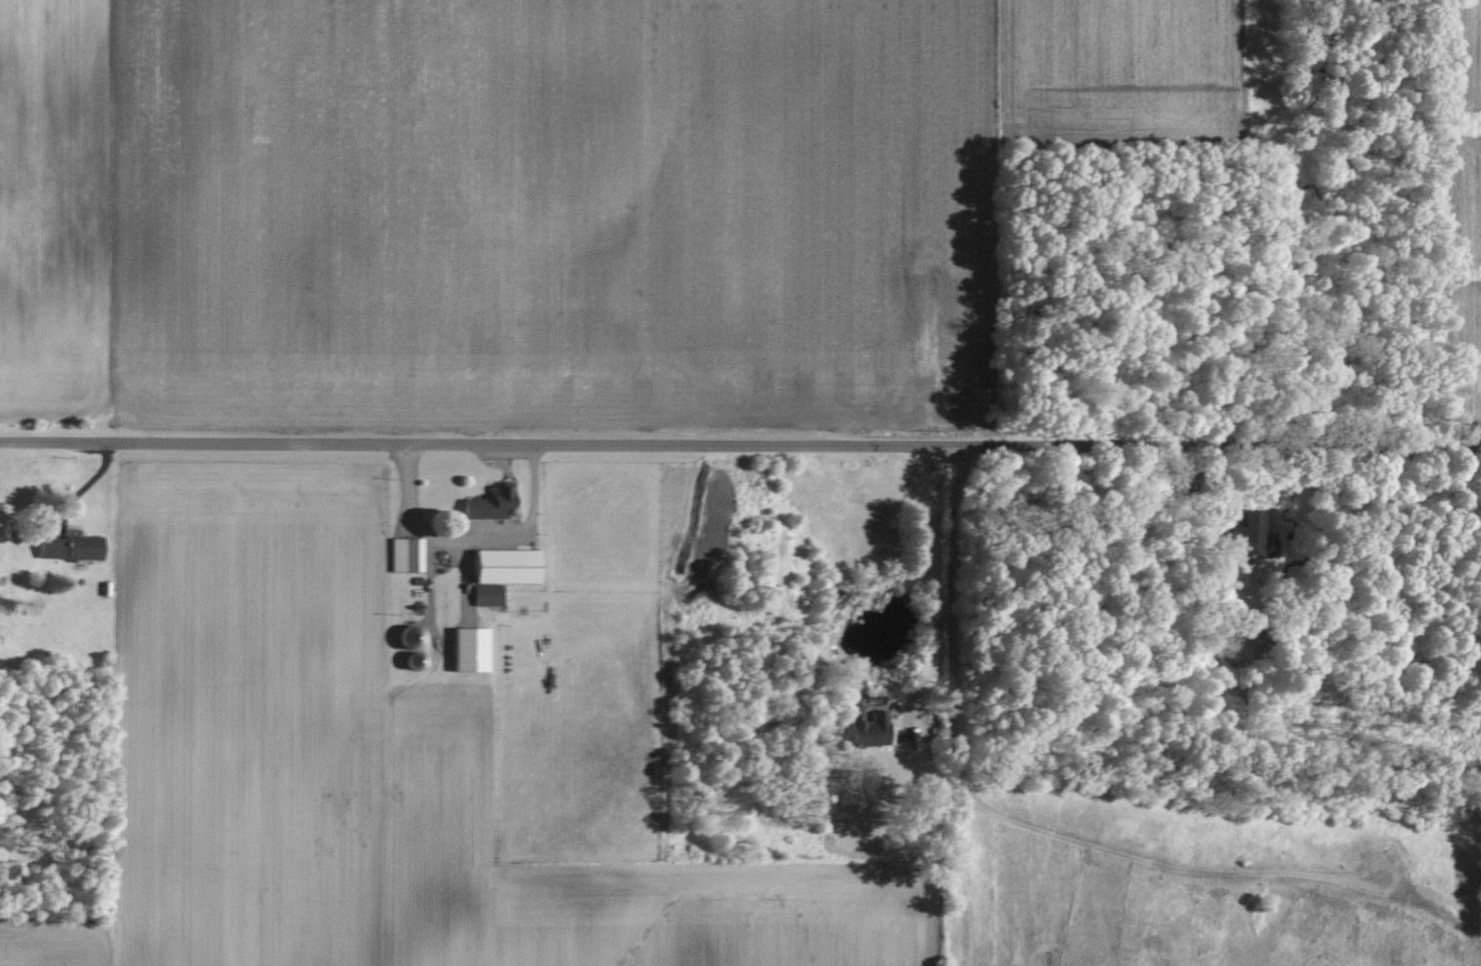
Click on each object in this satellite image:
road: (740, 446)
building: (488, 504)
building: (1247, 537)
road: (473, 538)
building: (68, 548)
building: (404, 555)
building: (502, 567)
road: (934, 574)
building: (485, 595)
building: (406, 638)
building: (466, 650)
building: (410, 661)
building: (865, 730)

